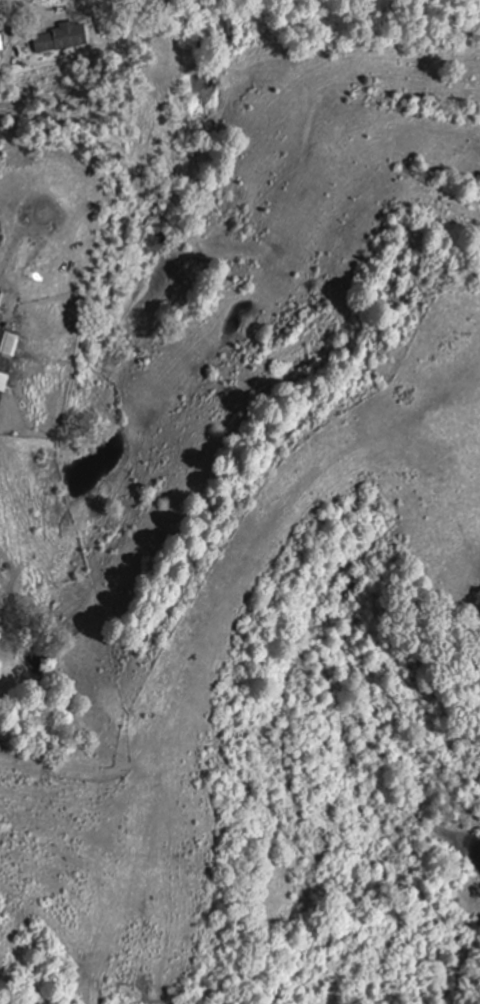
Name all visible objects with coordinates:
building: (58, 37)
building: (0, 45)
road: (19, 96)
building: (8, 343)
building: (3, 371)
road: (152, 843)

